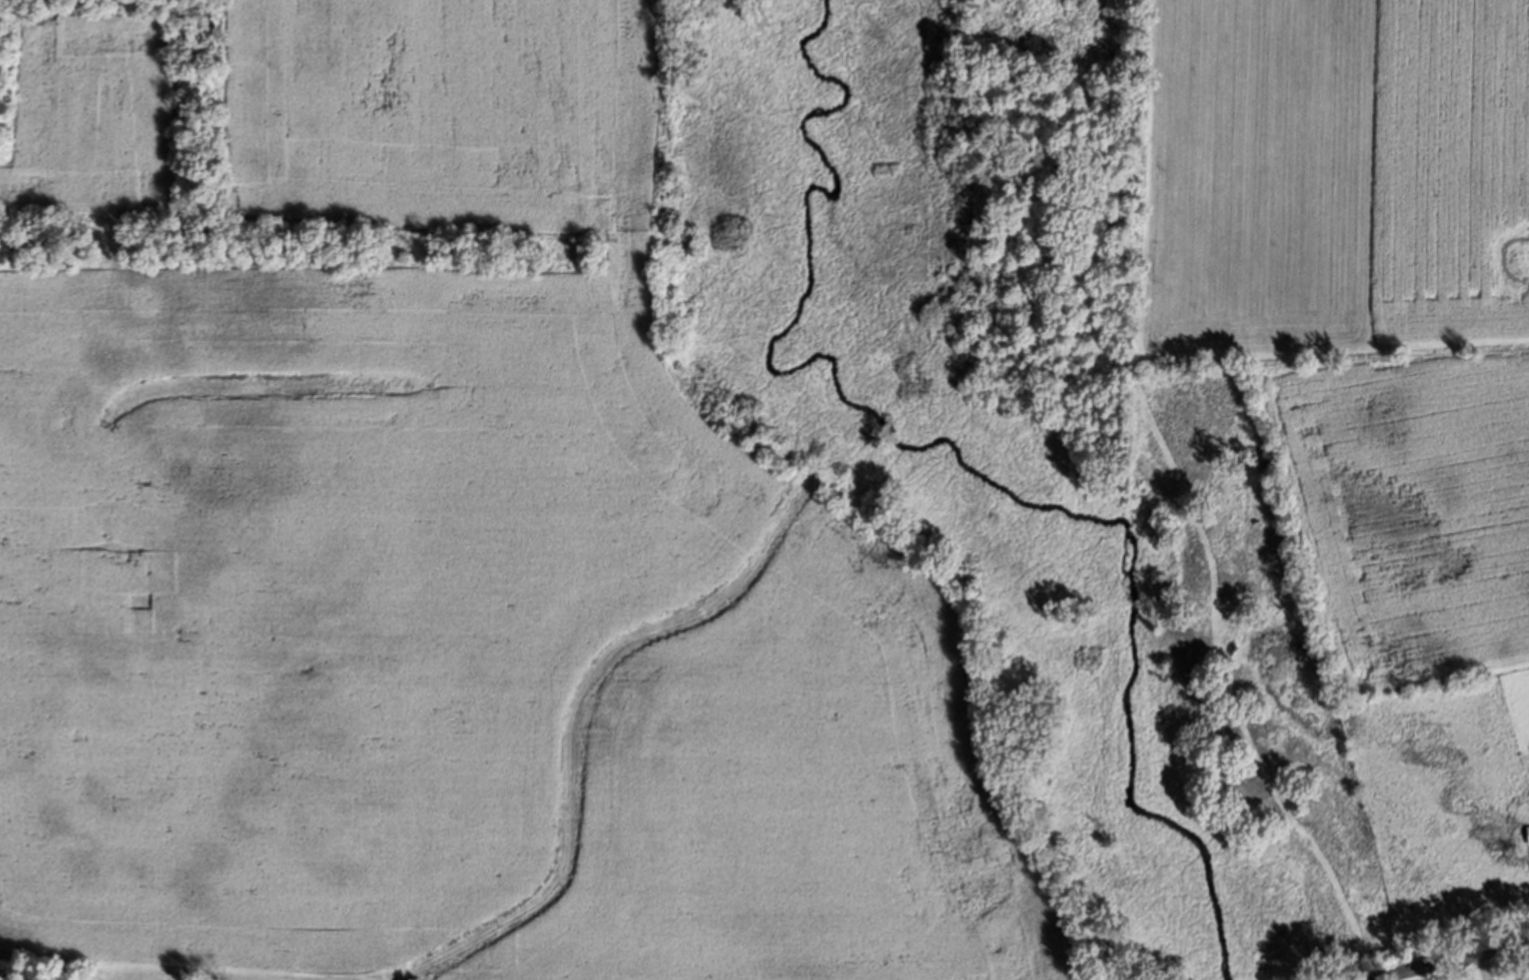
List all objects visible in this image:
building: (1528, 834)
road: (1454, 959)

